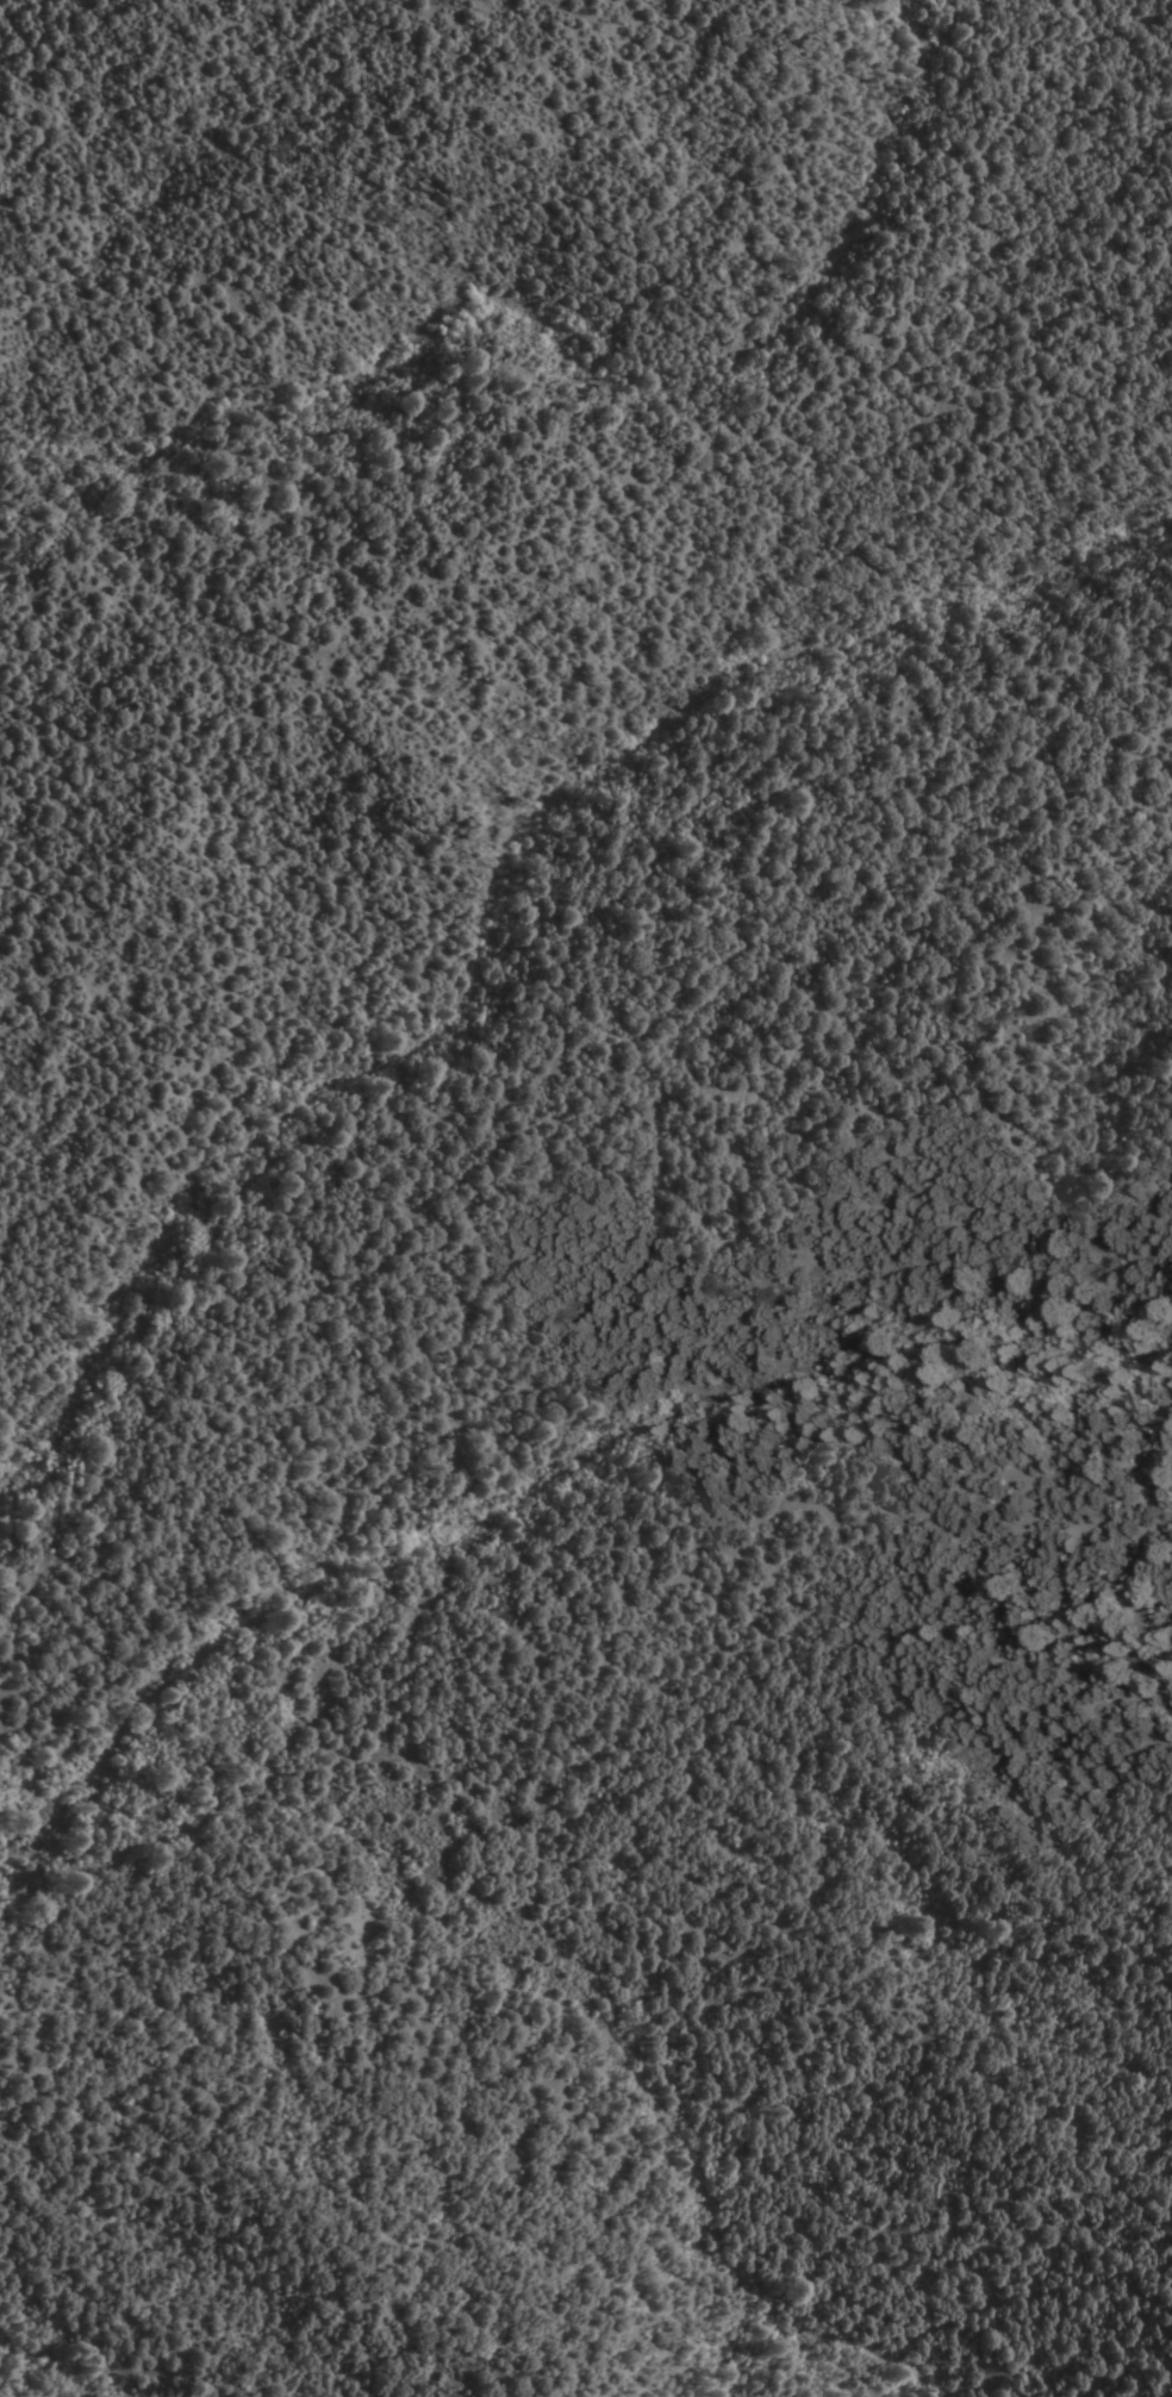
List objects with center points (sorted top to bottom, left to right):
road: (584, 1871)

